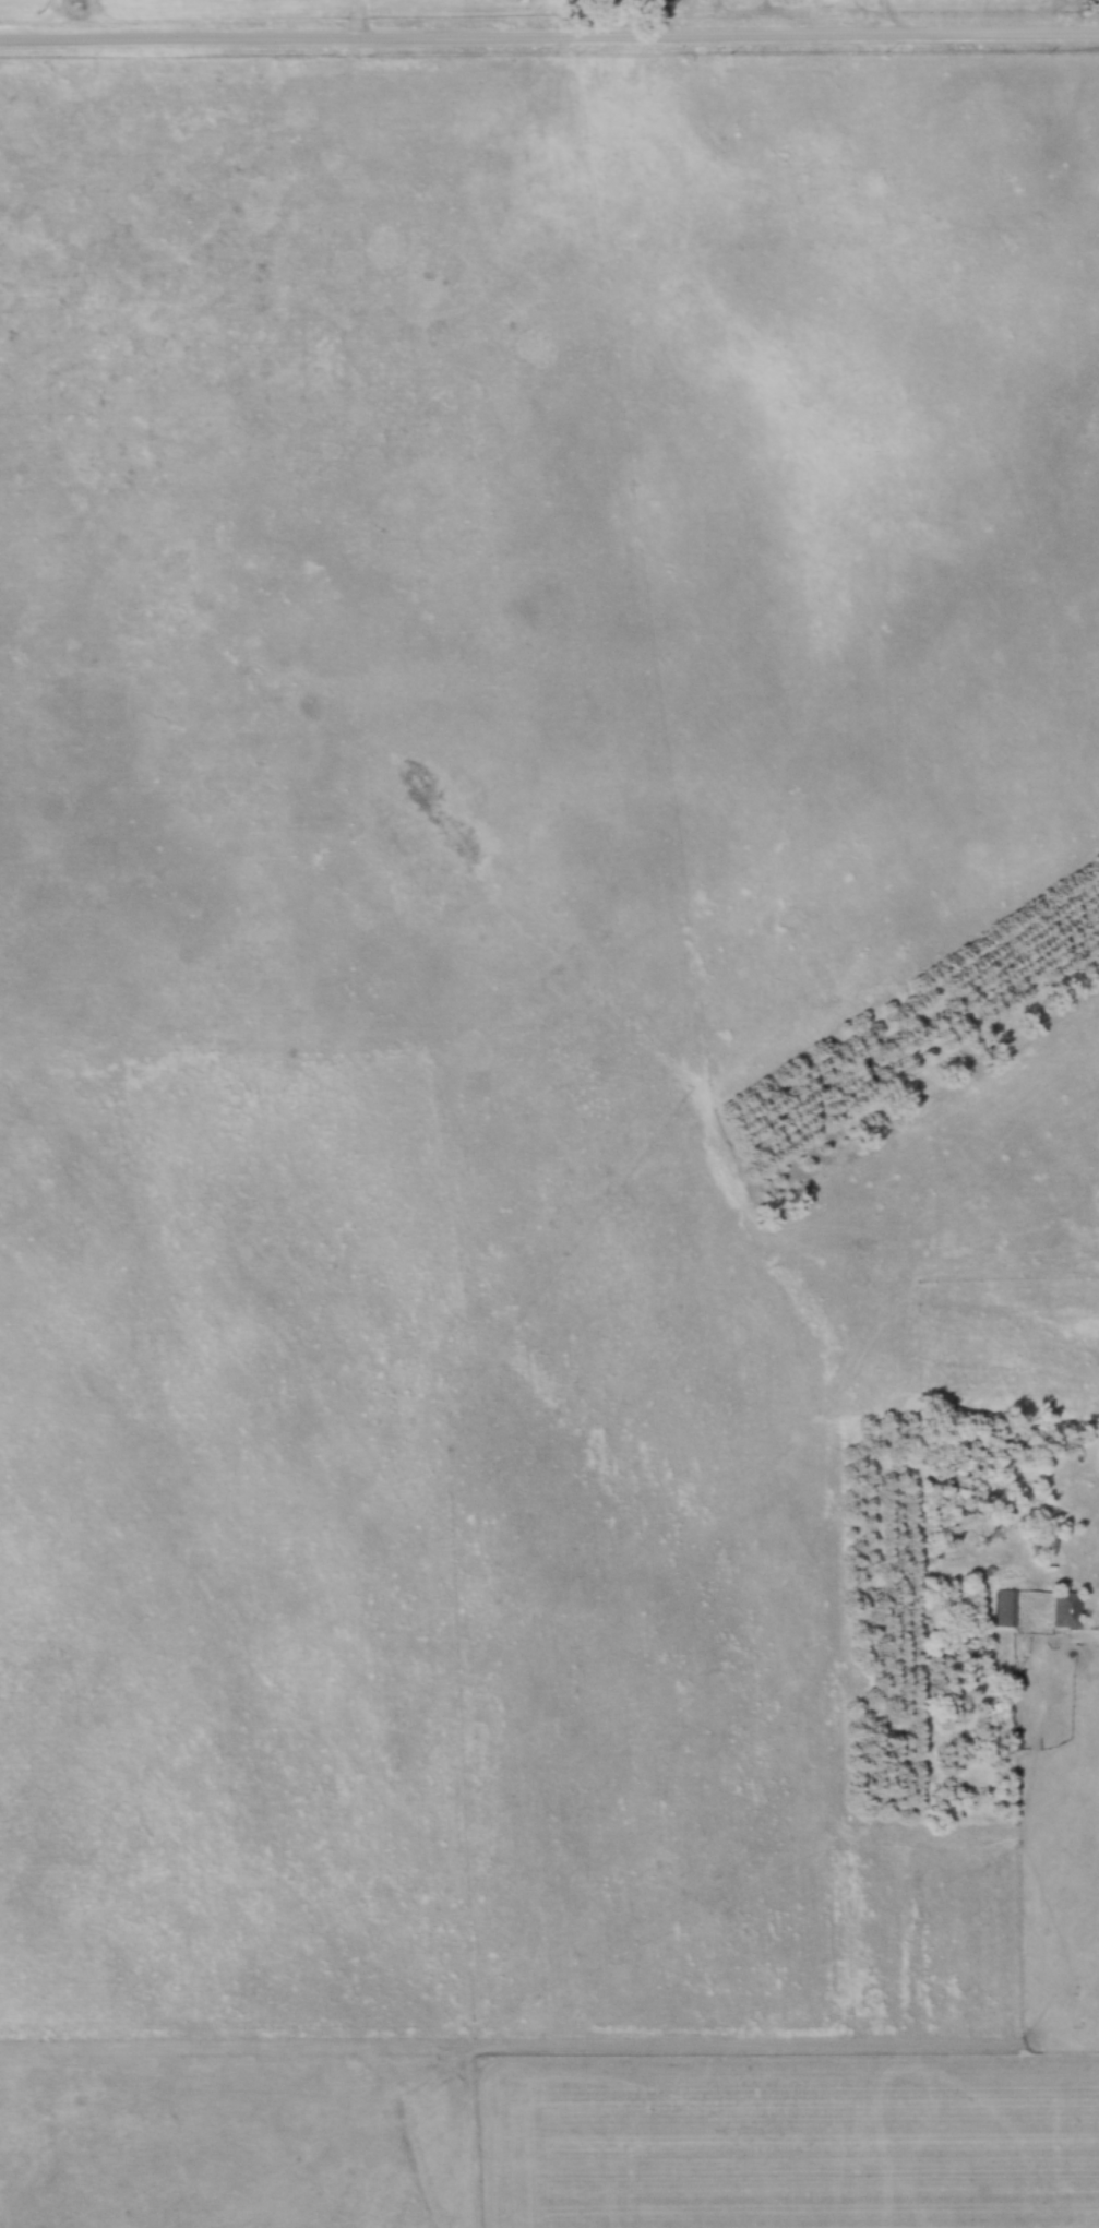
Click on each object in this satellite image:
road: (885, 19)
road: (549, 41)
building: (1003, 1608)
building: (1064, 1609)
building: (1089, 1646)

